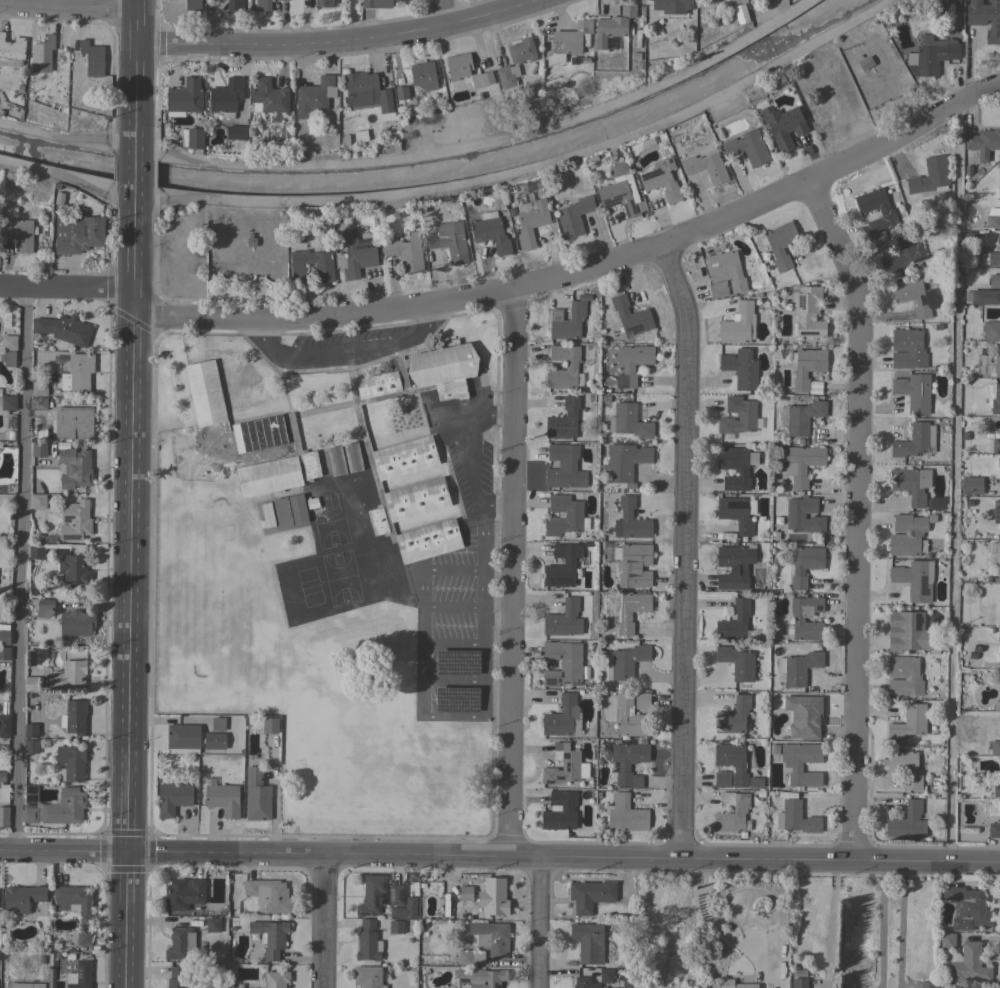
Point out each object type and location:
building: (726, 2)
building: (325, 3)
building: (378, 3)
building: (710, 3)
building: (192, 5)
building: (235, 5)
building: (263, 5)
building: (672, 5)
road: (71, 6)
road: (448, 11)
building: (951, 14)
building: (984, 18)
building: (613, 25)
road: (332, 40)
building: (569, 41)
building: (11, 51)
building: (521, 51)
building: (42, 54)
building: (932, 55)
building: (92, 58)
building: (458, 66)
road: (134, 73)
building: (424, 75)
building: (507, 76)
building: (482, 79)
building: (367, 94)
building: (401, 94)
building: (314, 96)
building: (226, 97)
building: (268, 97)
building: (184, 98)
building: (785, 128)
building: (236, 132)
building: (361, 136)
building: (194, 138)
road: (483, 139)
building: (983, 143)
building: (747, 147)
building: (706, 167)
building: (999, 168)
road: (133, 171)
building: (930, 176)
building: (662, 180)
building: (531, 186)
building: (619, 190)
building: (886, 211)
building: (574, 216)
building: (992, 219)
building: (530, 221)
building: (78, 232)
building: (18, 233)
building: (490, 233)
building: (999, 240)
building: (449, 241)
building: (781, 244)
building: (405, 251)
building: (902, 254)
building: (356, 255)
building: (994, 259)
road: (583, 268)
building: (734, 269)
building: (323, 271)
building: (992, 281)
road: (66, 287)
building: (718, 289)
building: (915, 296)
building: (985, 297)
building: (807, 313)
road: (428, 317)
building: (631, 317)
building: (566, 322)
building: (738, 324)
building: (63, 329)
building: (991, 331)
road: (258, 332)
building: (8, 342)
building: (907, 349)
road: (345, 352)
building: (8, 358)
building: (997, 362)
building: (631, 363)
building: (570, 365)
building: (806, 366)
building: (740, 368)
building: (77, 373)
building: (39, 388)
building: (913, 392)
building: (996, 400)
building: (8, 403)
building: (38, 403)
road: (495, 414)
building: (746, 415)
building: (800, 417)
building: (563, 420)
building: (628, 421)
building: (73, 423)
building: (39, 433)
building: (251, 437)
building: (915, 441)
building: (996, 445)
building: (414, 448)
building: (38, 450)
building: (352, 457)
road: (468, 457)
building: (736, 459)
building: (336, 461)
building: (624, 461)
building: (998, 462)
building: (801, 464)
building: (564, 467)
building: (75, 468)
building: (735, 483)
building: (911, 484)
building: (971, 485)
building: (37, 501)
road: (495, 507)
building: (297, 509)
building: (282, 512)
building: (737, 513)
building: (996, 514)
building: (803, 515)
building: (266, 516)
road: (857, 516)
building: (565, 517)
road: (952, 517)
building: (74, 520)
building: (630, 520)
building: (907, 535)
road: (684, 549)
building: (35, 552)
building: (998, 554)
building: (806, 559)
building: (631, 560)
building: (562, 565)
building: (733, 567)
road: (18, 568)
road: (450, 569)
building: (74, 570)
road: (509, 573)
building: (914, 580)
building: (798, 583)
road: (129, 591)
building: (45, 607)
road: (450, 608)
building: (631, 611)
building: (563, 619)
building: (797, 619)
building: (734, 621)
building: (76, 623)
building: (908, 627)
building: (998, 635)
building: (4, 637)
building: (895, 642)
road: (451, 643)
building: (5, 653)
building: (626, 661)
building: (456, 662)
building: (736, 662)
building: (562, 663)
building: (800, 667)
building: (68, 676)
building: (903, 676)
road: (451, 683)
building: (32, 684)
building: (642, 701)
building: (999, 705)
building: (801, 712)
road: (483, 715)
building: (733, 716)
building: (74, 717)
building: (563, 717)
building: (630, 717)
building: (4, 720)
building: (909, 722)
building: (218, 724)
building: (270, 726)
building: (30, 730)
building: (183, 739)
building: (215, 740)
building: (30, 746)
building: (993, 748)
building: (730, 756)
building: (628, 762)
building: (70, 763)
building: (792, 764)
building: (564, 766)
building: (904, 767)
building: (999, 769)
building: (2, 777)
building: (721, 779)
building: (739, 780)
building: (936, 784)
building: (996, 791)
building: (256, 795)
building: (222, 798)
building: (172, 799)
building: (30, 804)
building: (64, 807)
building: (739, 810)
building: (560, 811)
building: (625, 814)
building: (4, 815)
building: (796, 818)
building: (907, 822)
building: (994, 830)
road: (500, 855)
building: (414, 886)
building: (422, 886)
building: (414, 893)
building: (465, 893)
building: (183, 894)
building: (268, 894)
building: (371, 895)
building: (396, 895)
building: (590, 895)
building: (22, 898)
building: (495, 900)
building: (968, 908)
building: (393, 913)
building: (409, 913)
building: (85, 915)
building: (386, 916)
road: (706, 917)
road: (325, 921)
road: (538, 922)
road: (833, 922)
road: (881, 924)
road: (900, 924)
building: (212, 925)
building: (421, 925)
building: (396, 927)
building: (269, 937)
building: (490, 937)
building: (180, 941)
building: (367, 941)
building: (947, 941)
building: (588, 942)
building: (69, 956)
building: (470, 957)
building: (52, 959)
building: (41, 960)
building: (968, 964)
building: (50, 974)
building: (79, 975)
building: (606, 975)
building: (176, 977)
building: (368, 977)
building: (480, 977)
building: (276, 979)
building: (799, 982)
building: (583, 983)
building: (734, 984)
building: (927, 984)
building: (26, 985)
building: (50, 985)
building: (234, 986)

